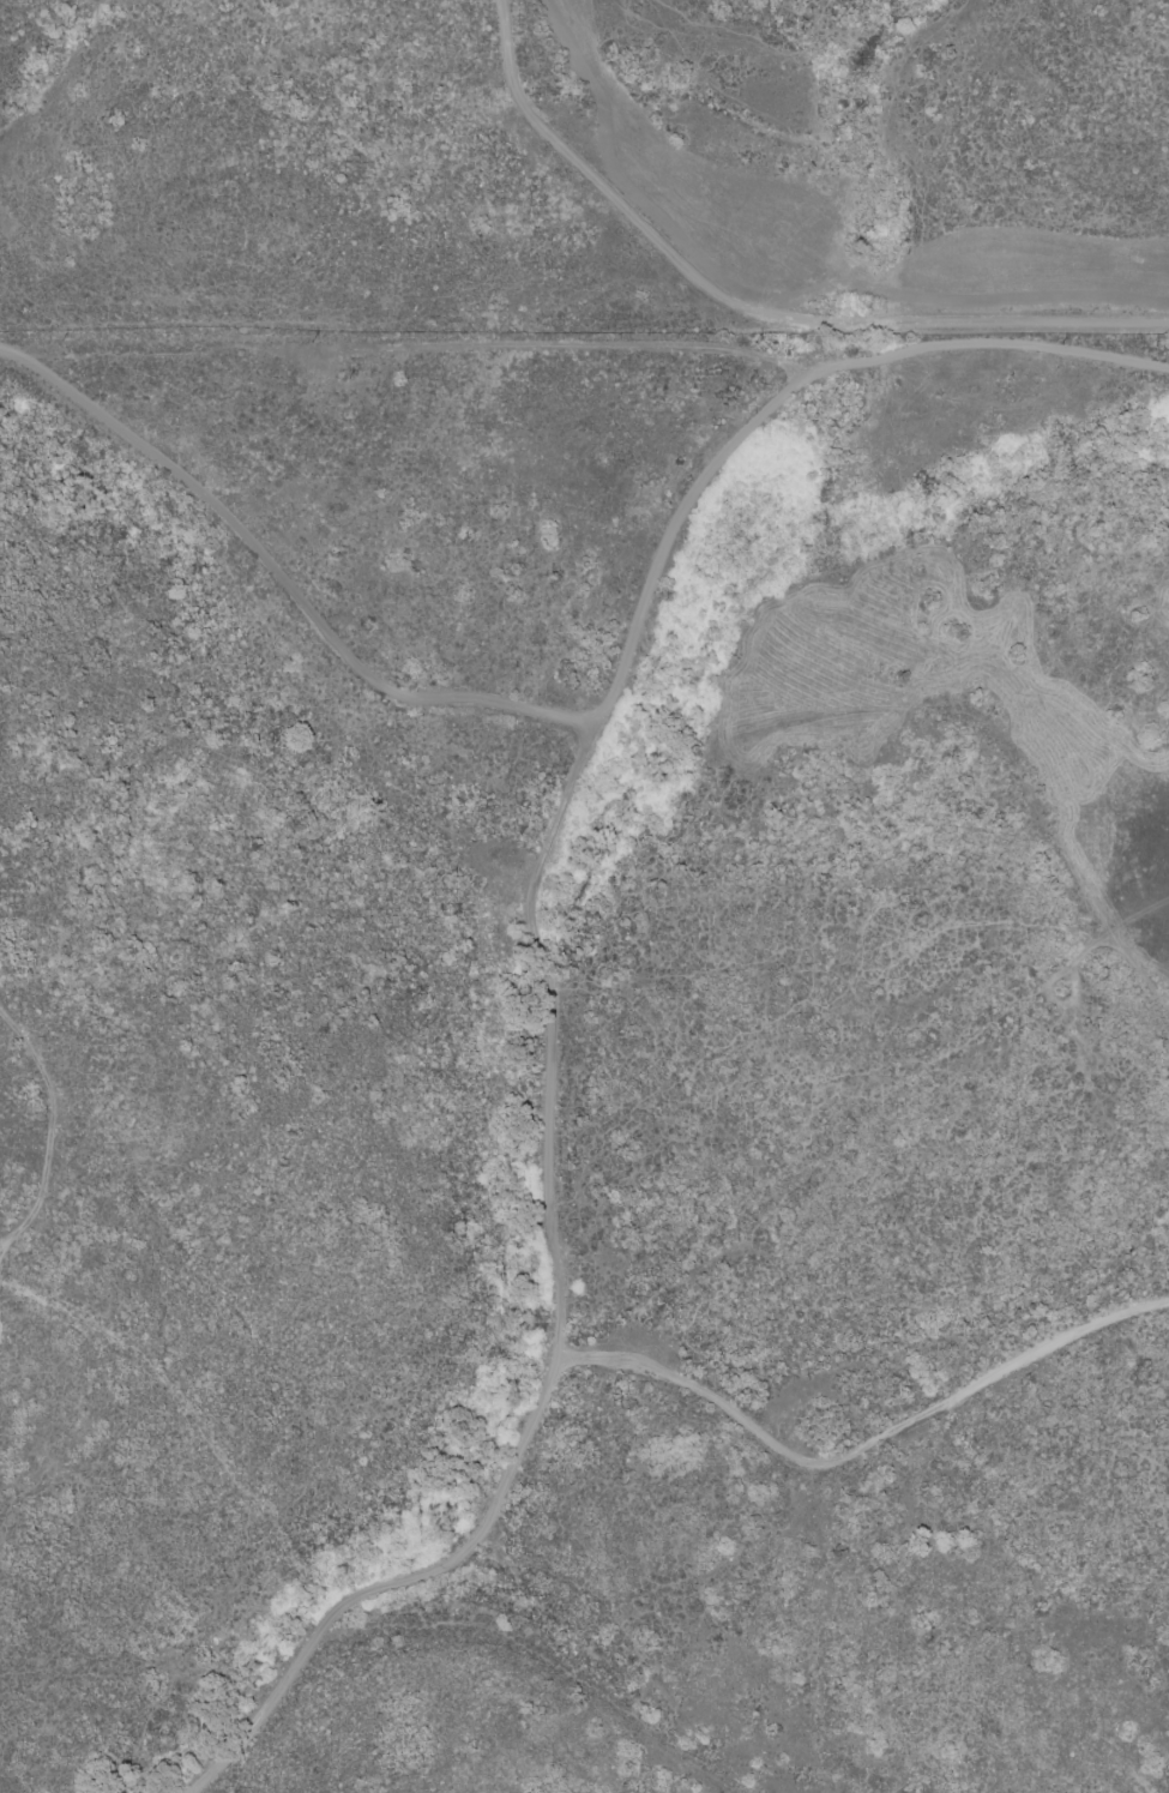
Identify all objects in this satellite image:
road: (748, 311)
road: (536, 937)

